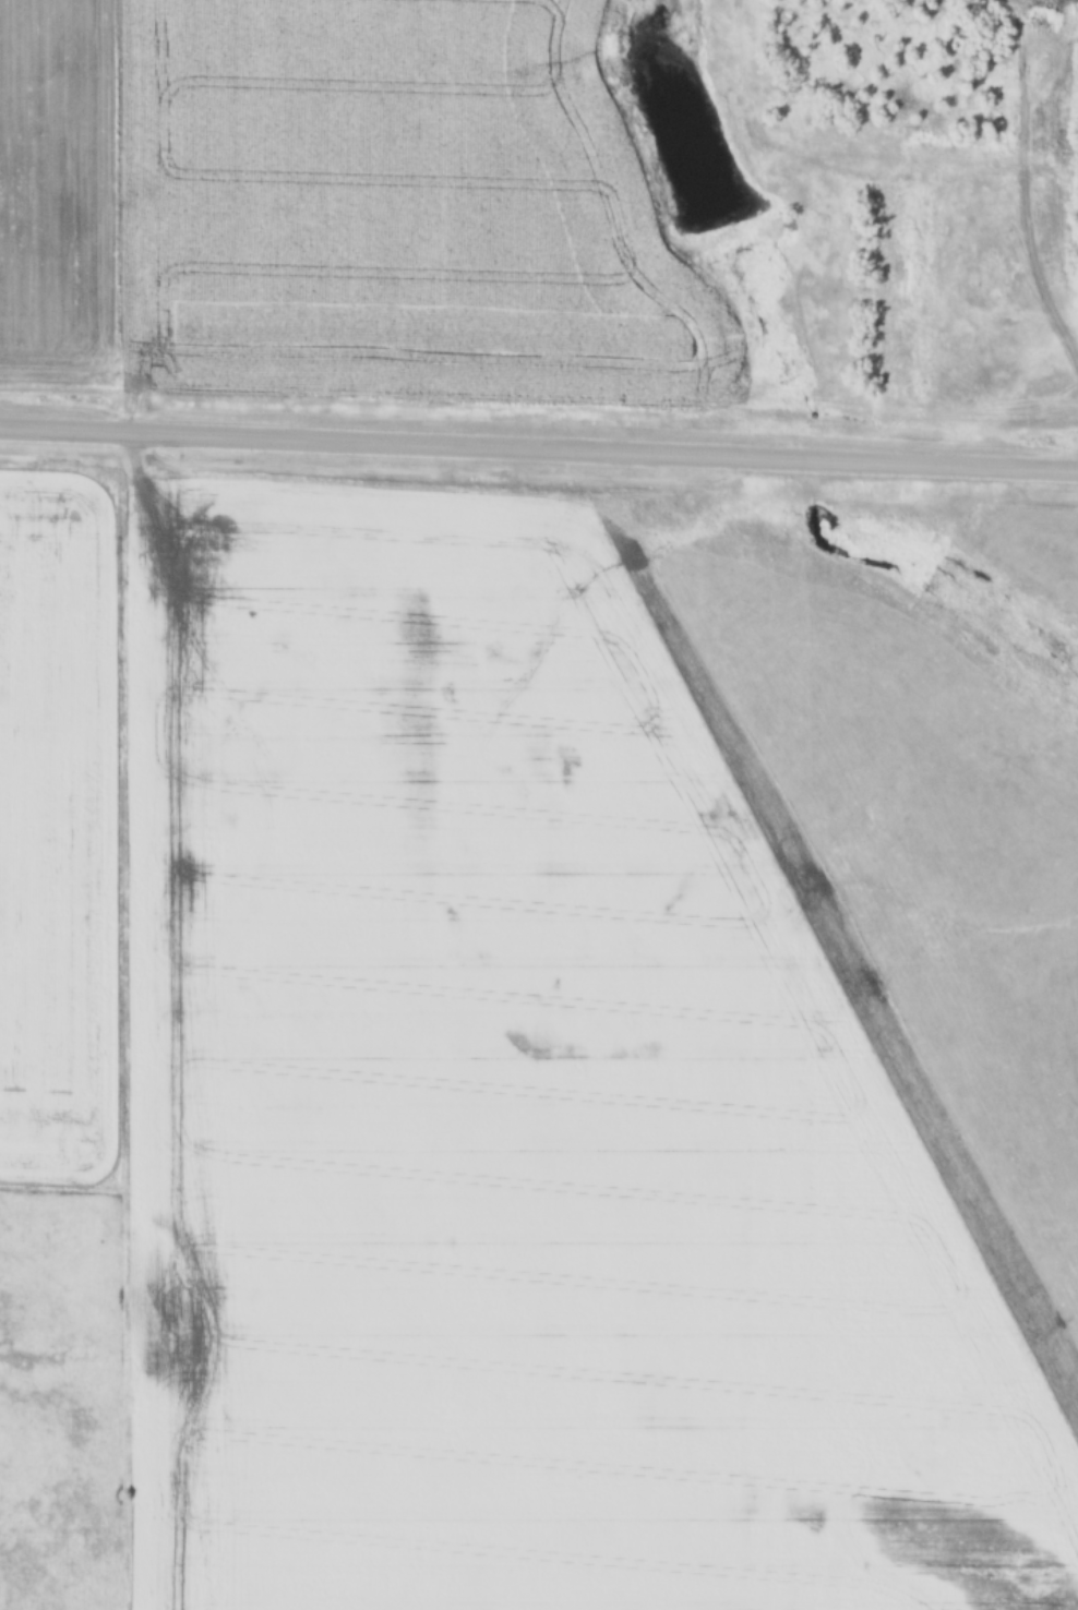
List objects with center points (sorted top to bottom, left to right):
road: (539, 448)

